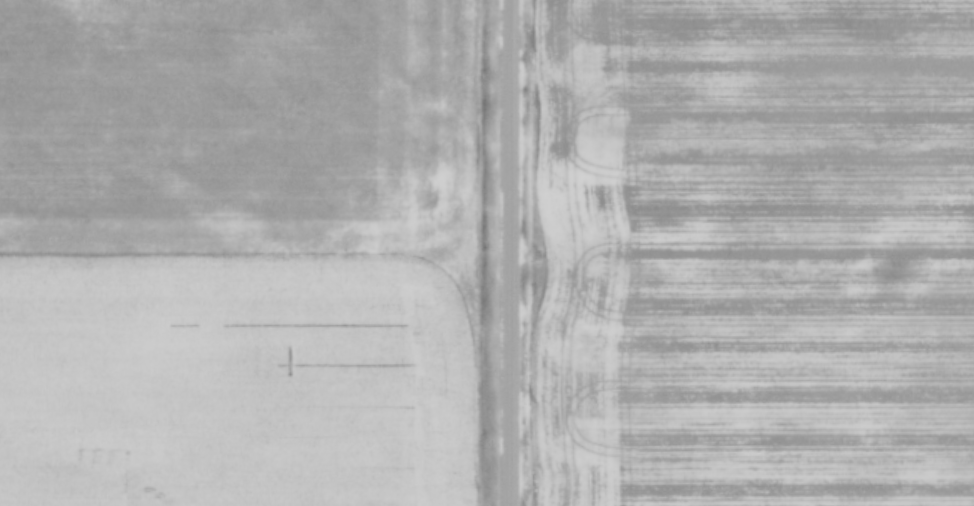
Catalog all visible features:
road: (510, 252)

